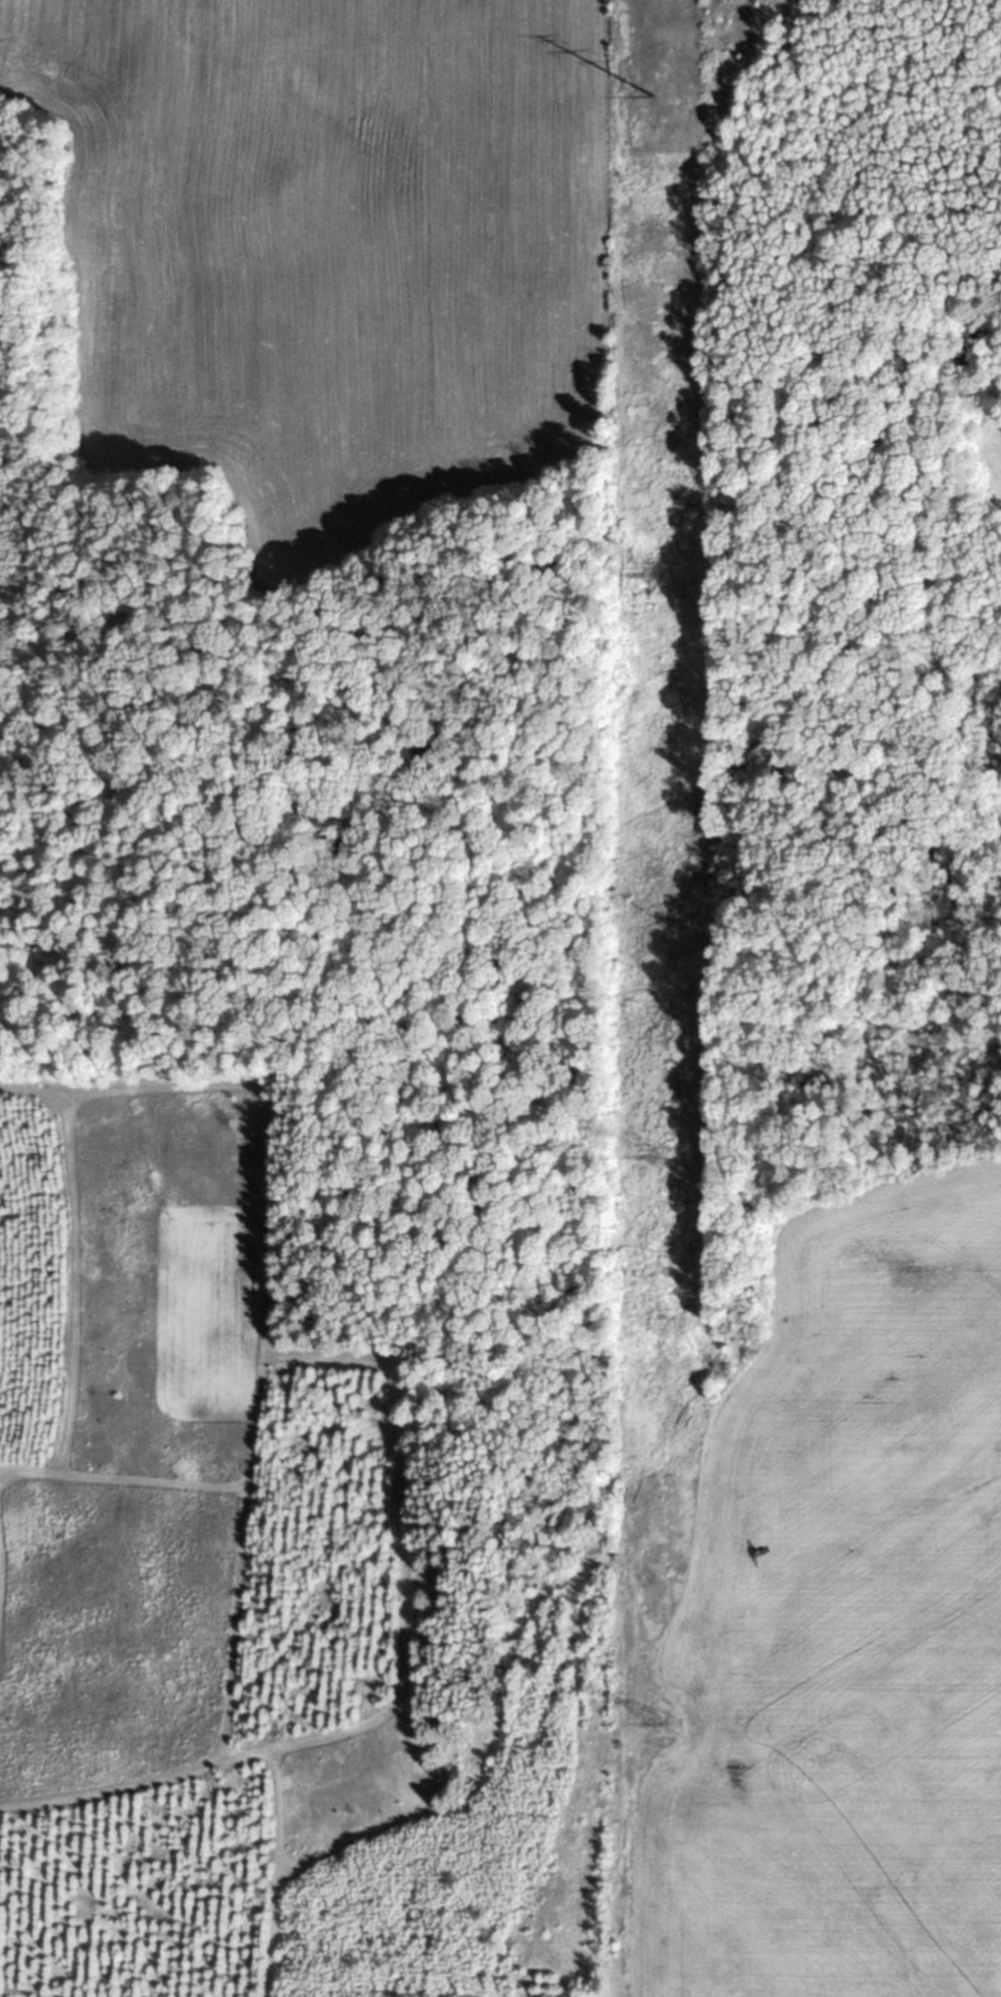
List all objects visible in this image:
power tower: (654, 95)
power tower: (660, 575)
power tower: (663, 1159)
power tower: (662, 1724)

